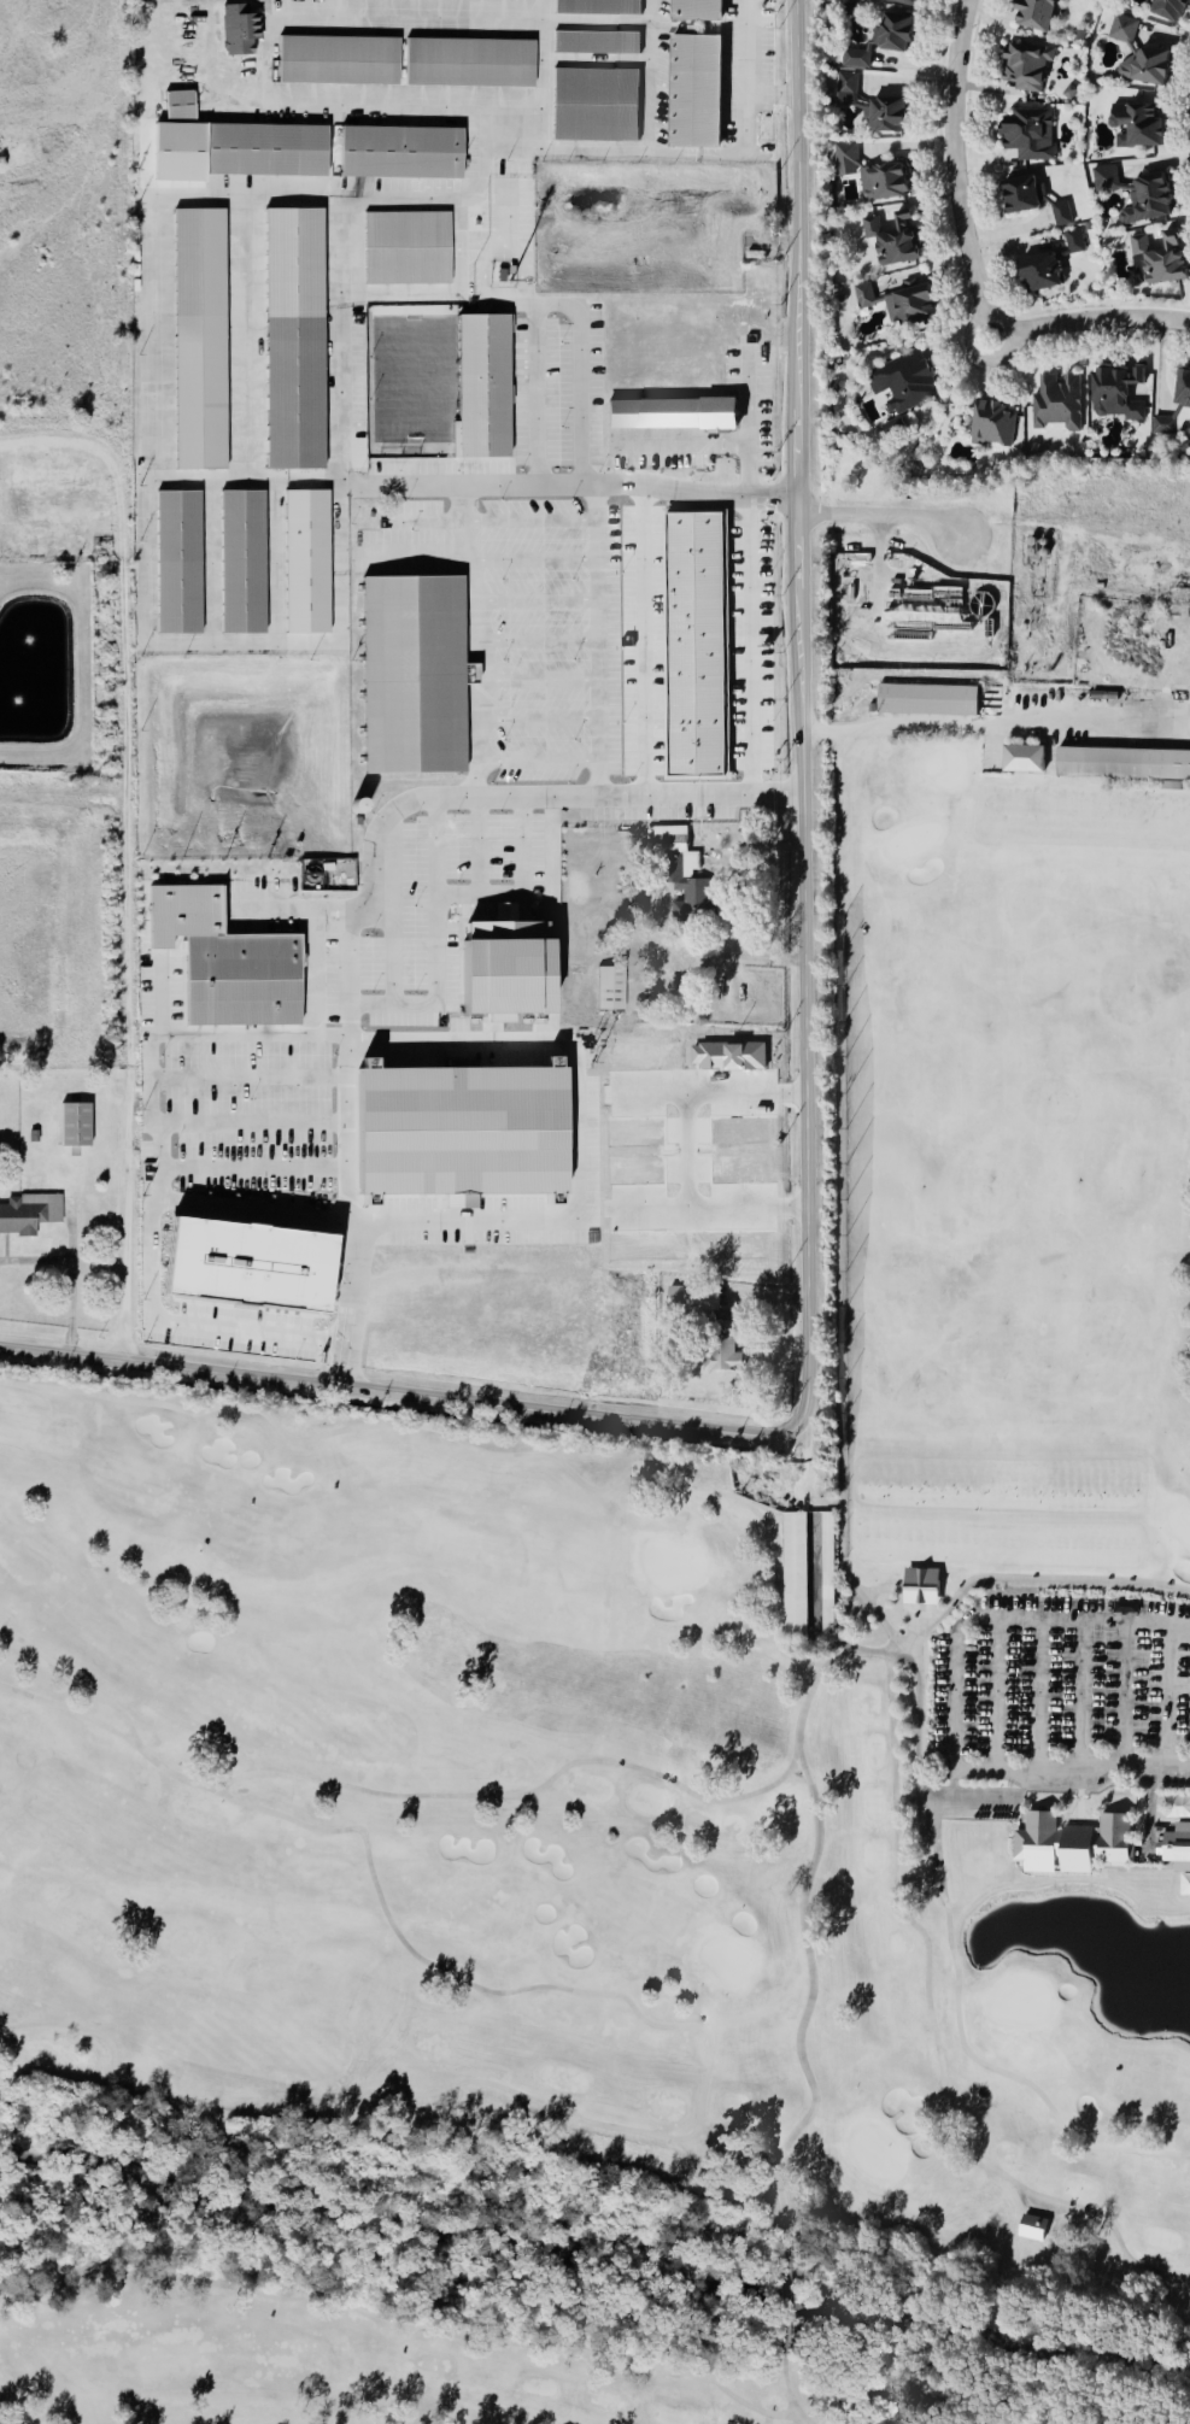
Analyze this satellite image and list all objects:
building: (901, 2)
building: (594, 7)
building: (1166, 8)
building: (693, 11)
building: (1031, 14)
building: (1122, 29)
building: (235, 30)
building: (891, 31)
building: (594, 43)
building: (855, 59)
building: (335, 60)
building: (465, 63)
building: (1144, 65)
building: (1024, 68)
road: (746, 70)
road: (647, 76)
road: (544, 82)
building: (844, 89)
building: (693, 92)
building: (176, 105)
building: (593, 105)
building: (884, 115)
building: (1136, 123)
park: (764, 130)
building: (1026, 134)
building: (263, 148)
building: (395, 151)
road: (644, 152)
building: (843, 155)
road: (959, 171)
building: (1104, 178)
building: (880, 181)
road: (469, 192)
building: (1018, 195)
building: (1144, 200)
building: (1060, 215)
building: (892, 240)
building: (1072, 242)
building: (408, 247)
building: (1157, 258)
building: (1038, 272)
building: (862, 297)
building: (911, 305)
road: (1092, 321)
building: (200, 339)
building: (293, 339)
road: (579, 354)
building: (902, 382)
building: (482, 387)
building: (1113, 394)
road: (534, 395)
building: (1055, 403)
building: (1174, 406)
building: (673, 412)
building: (991, 423)
road: (749, 424)
road: (685, 444)
building: (357, 447)
road: (213, 479)
road: (150, 500)
road: (878, 516)
road: (598, 542)
building: (306, 560)
building: (178, 562)
building: (242, 562)
road: (483, 642)
road: (639, 644)
building: (692, 644)
road: (746, 646)
building: (412, 674)
building: (926, 699)
road: (979, 723)
building: (1024, 759)
building: (1124, 763)
road: (474, 846)
road: (124, 855)
building: (680, 869)
road: (520, 888)
building: (188, 898)
road: (332, 912)
road: (389, 941)
road: (433, 946)
building: (235, 969)
building: (492, 973)
road: (344, 979)
building: (610, 987)
road: (241, 1079)
road: (715, 1096)
road: (808, 1120)
road: (242, 1121)
building: (76, 1123)
road: (571, 1126)
building: (462, 1131)
building: (34, 1135)
road: (690, 1155)
road: (169, 1169)
road: (336, 1203)
road: (715, 1213)
building: (28, 1214)
building: (236, 1263)
building: (691, 1298)
road: (171, 1321)
building: (721, 1356)
building: (796, 1573)
building: (826, 1584)
building: (919, 1587)
road: (954, 1697)
park: (672, 1704)
building: (984, 1838)
building: (1071, 1844)
building: (1176, 1848)
building: (1031, 2228)
river: (594, 2261)

